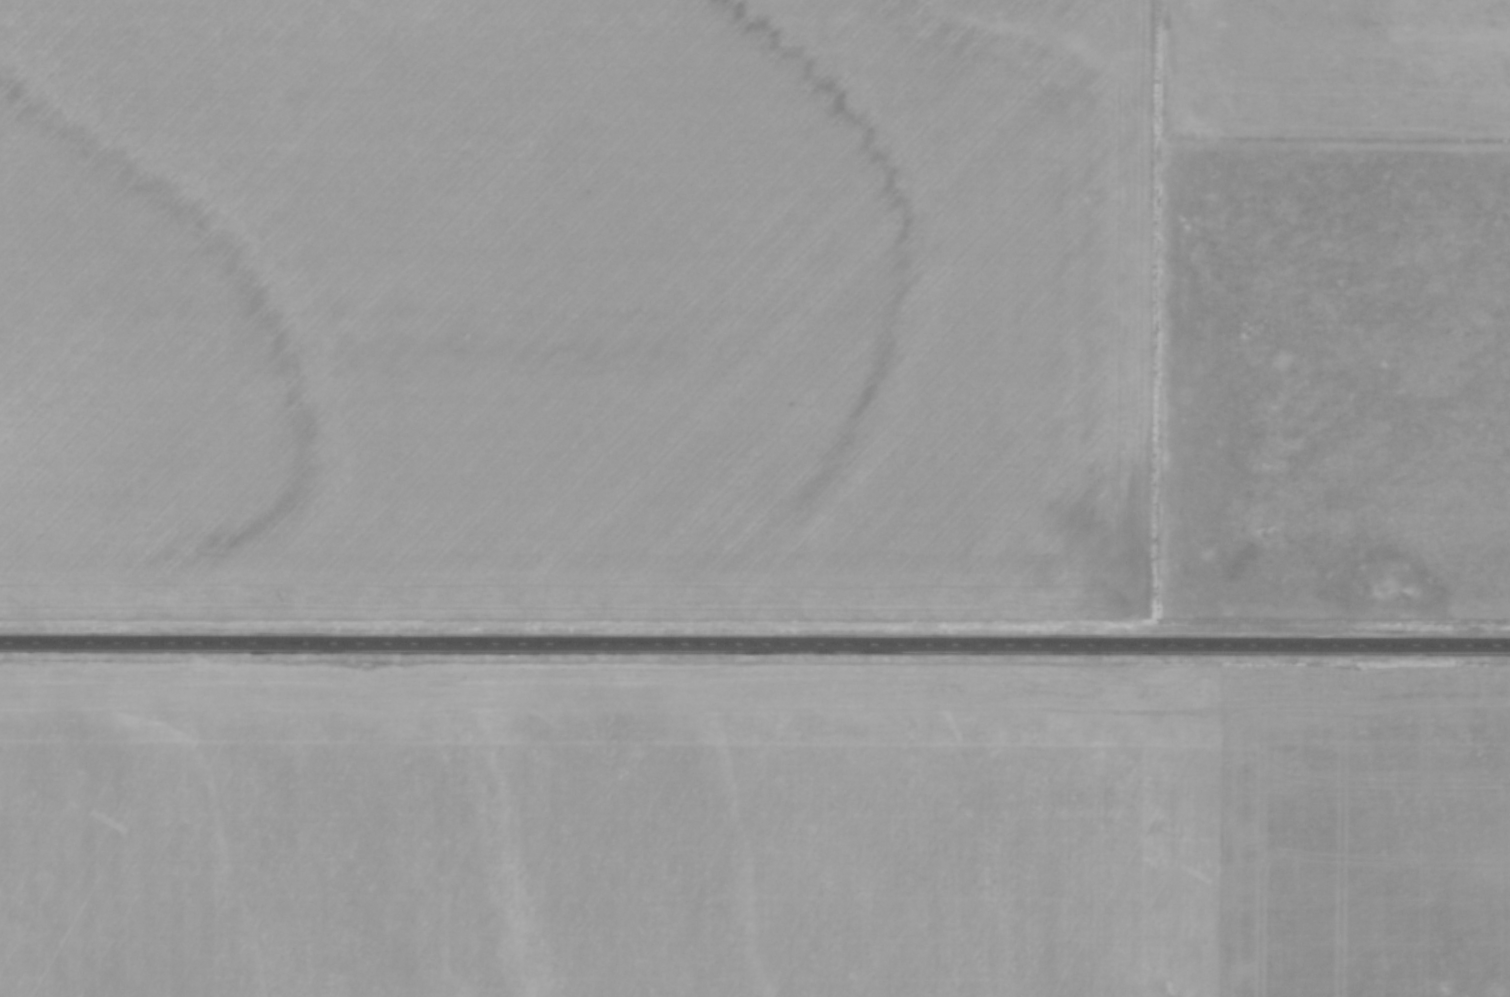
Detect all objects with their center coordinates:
crop: (624, 296)
building: (470, 639)
road: (755, 642)
crop: (750, 830)

